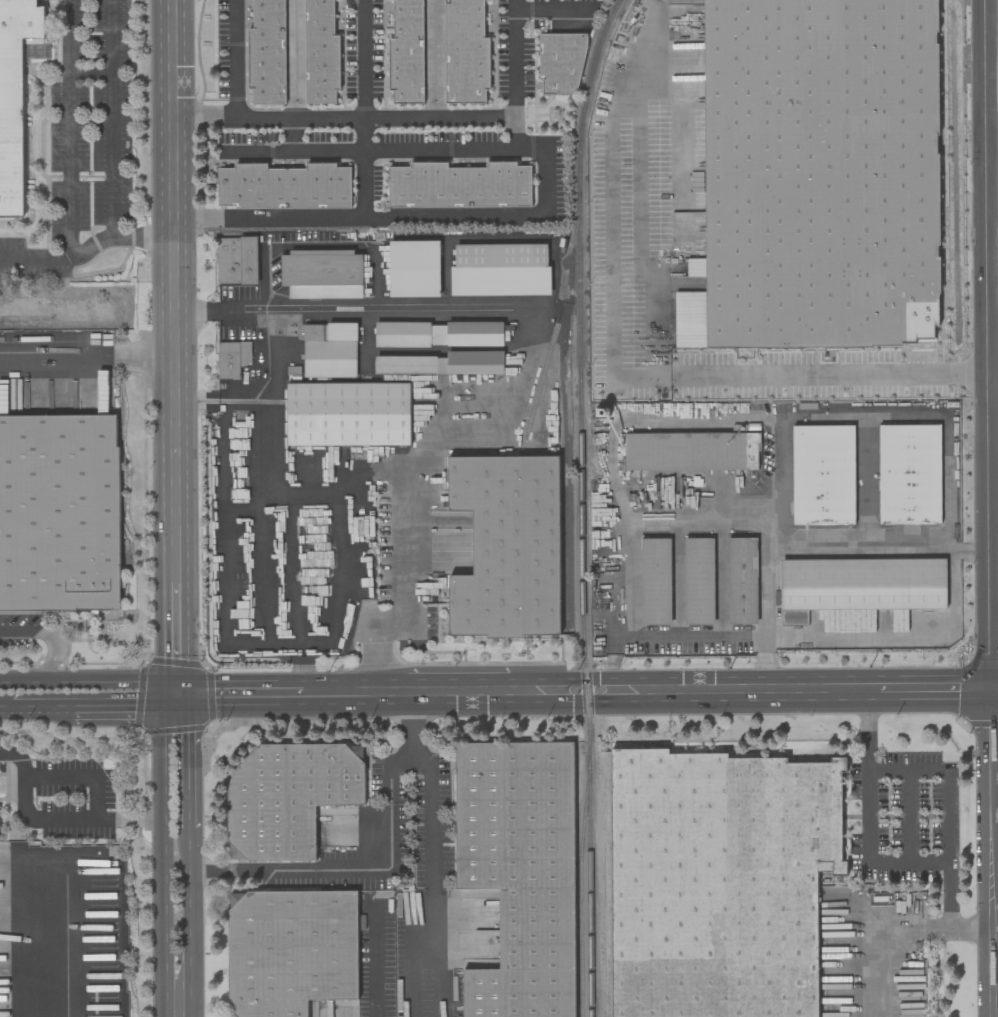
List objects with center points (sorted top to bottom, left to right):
building: (465, 52)
building: (266, 53)
building: (320, 53)
building: (406, 53)
road: (238, 59)
building: (560, 64)
road: (991, 75)
building: (14, 96)
road: (365, 109)
road: (437, 118)
road: (207, 119)
road: (113, 120)
road: (70, 127)
road: (374, 149)
building: (817, 176)
building: (459, 186)
building: (284, 187)
road: (681, 208)
road: (420, 217)
railway: (574, 241)
road: (378, 243)
road: (87, 247)
building: (237, 260)
building: (414, 269)
building: (500, 270)
building: (322, 274)
road: (174, 292)
road: (992, 293)
road: (522, 316)
road: (992, 329)
building: (439, 334)
road: (986, 346)
building: (329, 350)
railway: (547, 354)
road: (87, 357)
building: (232, 359)
building: (442, 364)
road: (611, 371)
building: (348, 414)
road: (872, 416)
building: (691, 452)
railway: (563, 457)
road: (268, 470)
road: (992, 471)
building: (823, 475)
building: (909, 475)
railway: (580, 505)
railway: (603, 506)
building: (59, 513)
road: (655, 519)
building: (507, 547)
road: (813, 547)
road: (969, 548)
building: (655, 581)
building: (698, 581)
building: (742, 581)
building: (858, 588)
road: (295, 596)
road: (896, 632)
road: (49, 635)
road: (686, 635)
road: (176, 642)
road: (375, 645)
road: (90, 682)
road: (571, 691)
road: (741, 691)
road: (932, 692)
traffic signals: (990, 692)
road: (994, 692)
road: (454, 693)
road: (338, 696)
road: (239, 698)
traffic signals: (177, 699)
road: (48, 714)
road: (128, 714)
road: (9, 715)
road: (187, 763)
road: (83, 773)
road: (429, 775)
road: (865, 777)
road: (945, 777)
building: (288, 798)
road: (990, 808)
road: (909, 815)
road: (49, 820)
road: (158, 855)
road: (349, 868)
building: (519, 872)
road: (946, 875)
building: (720, 883)
railway: (581, 892)
road: (188, 923)
road: (874, 936)
road: (49, 938)
building: (290, 951)
road: (376, 962)
road: (991, 971)

